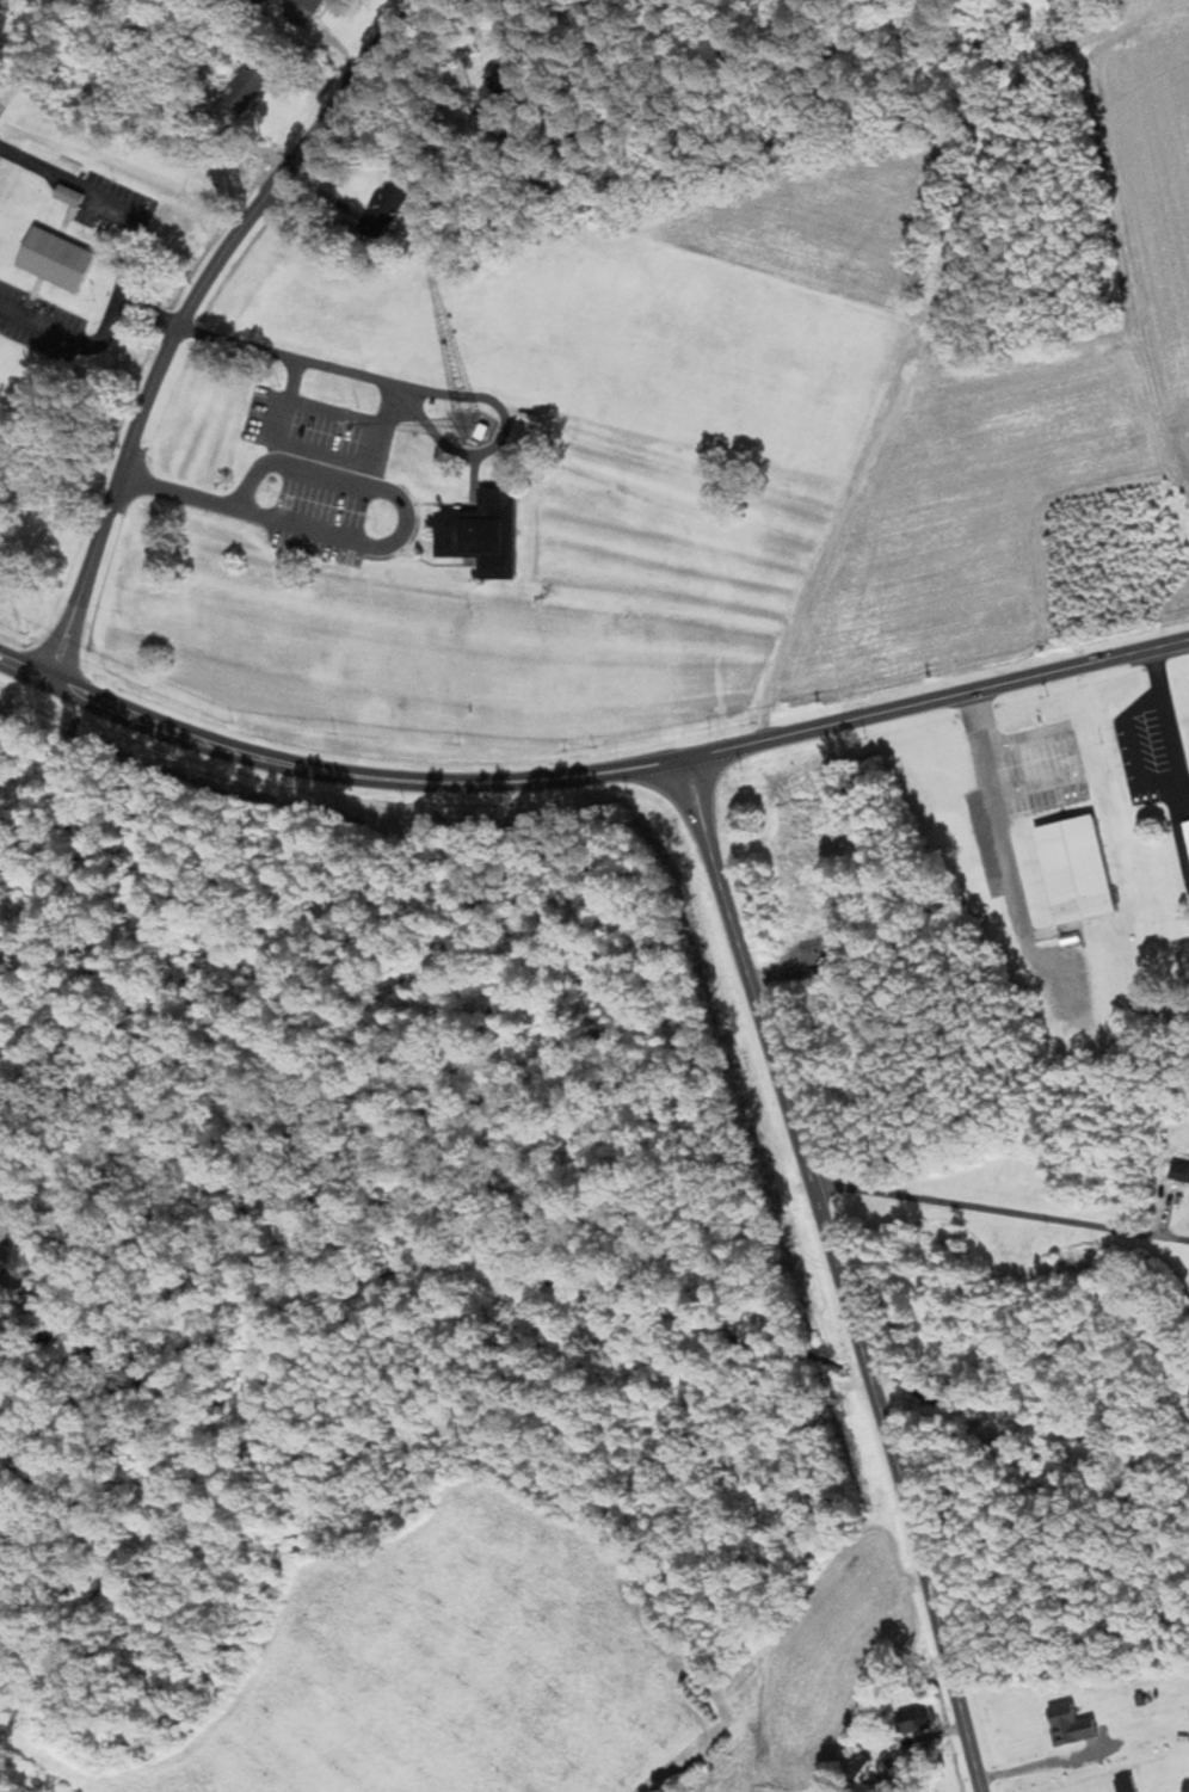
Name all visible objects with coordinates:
building: (304, 12)
building: (247, 86)
building: (70, 195)
building: (387, 208)
building: (57, 259)
road: (119, 269)
road: (187, 319)
road: (300, 358)
road: (907, 371)
road: (241, 515)
building: (483, 532)
road: (1166, 721)
road: (591, 775)
road: (992, 815)
building: (1188, 825)
building: (1077, 869)
road: (985, 1023)
building: (1181, 1171)
road: (1002, 1197)
road: (838, 1273)
building: (918, 1719)
building: (1072, 1724)
road: (1048, 1763)
building: (1127, 1784)

